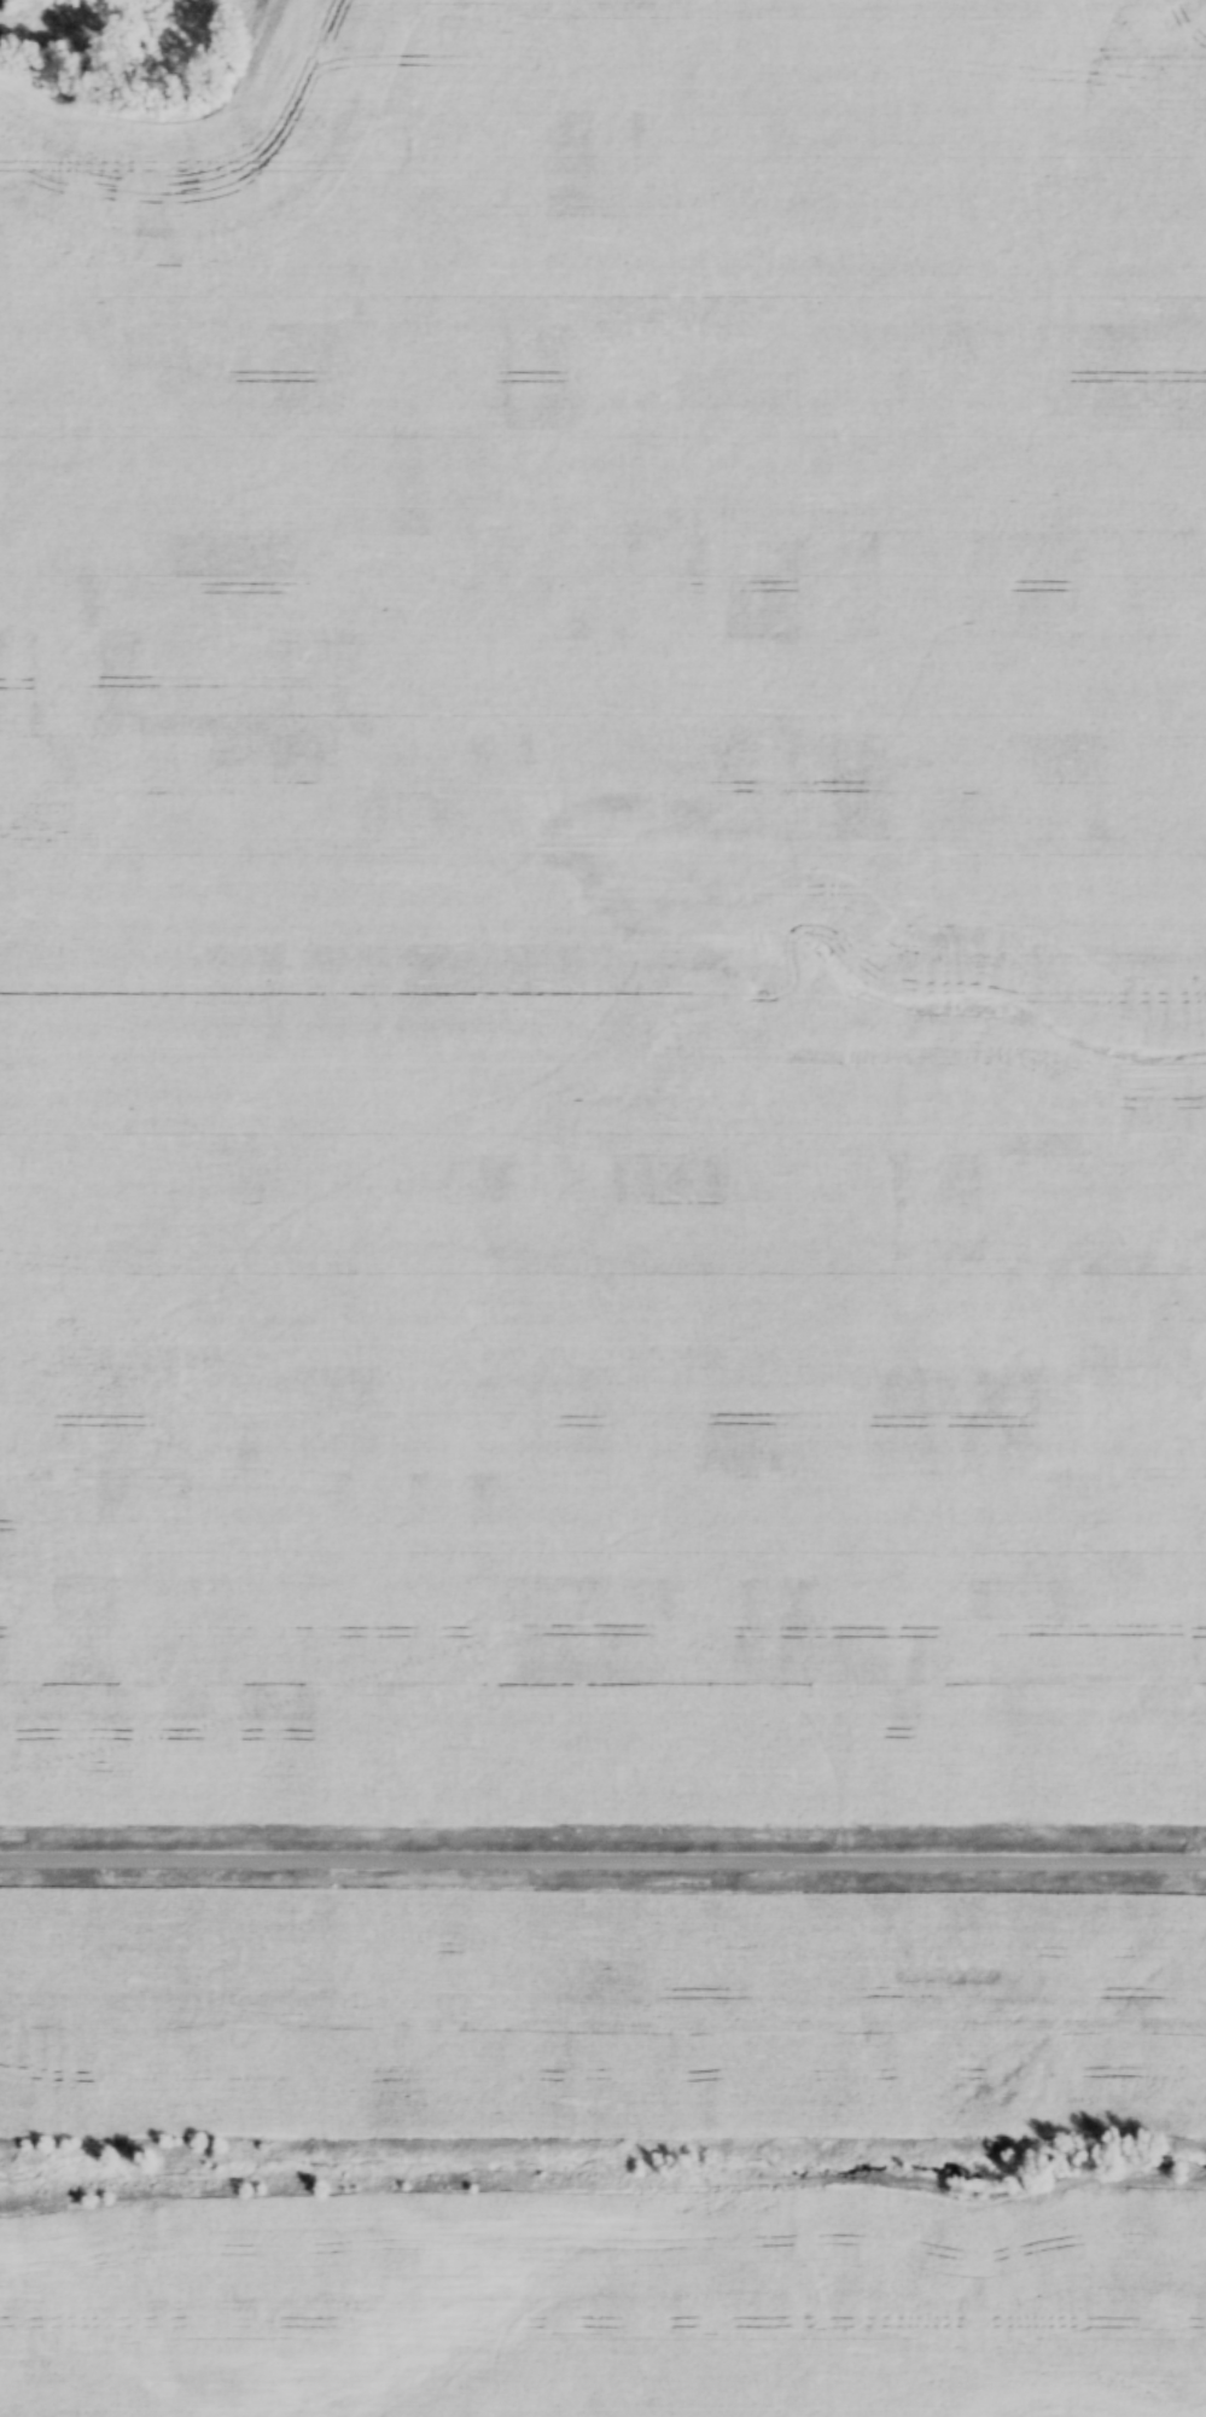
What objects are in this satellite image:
road: (602, 1854)

